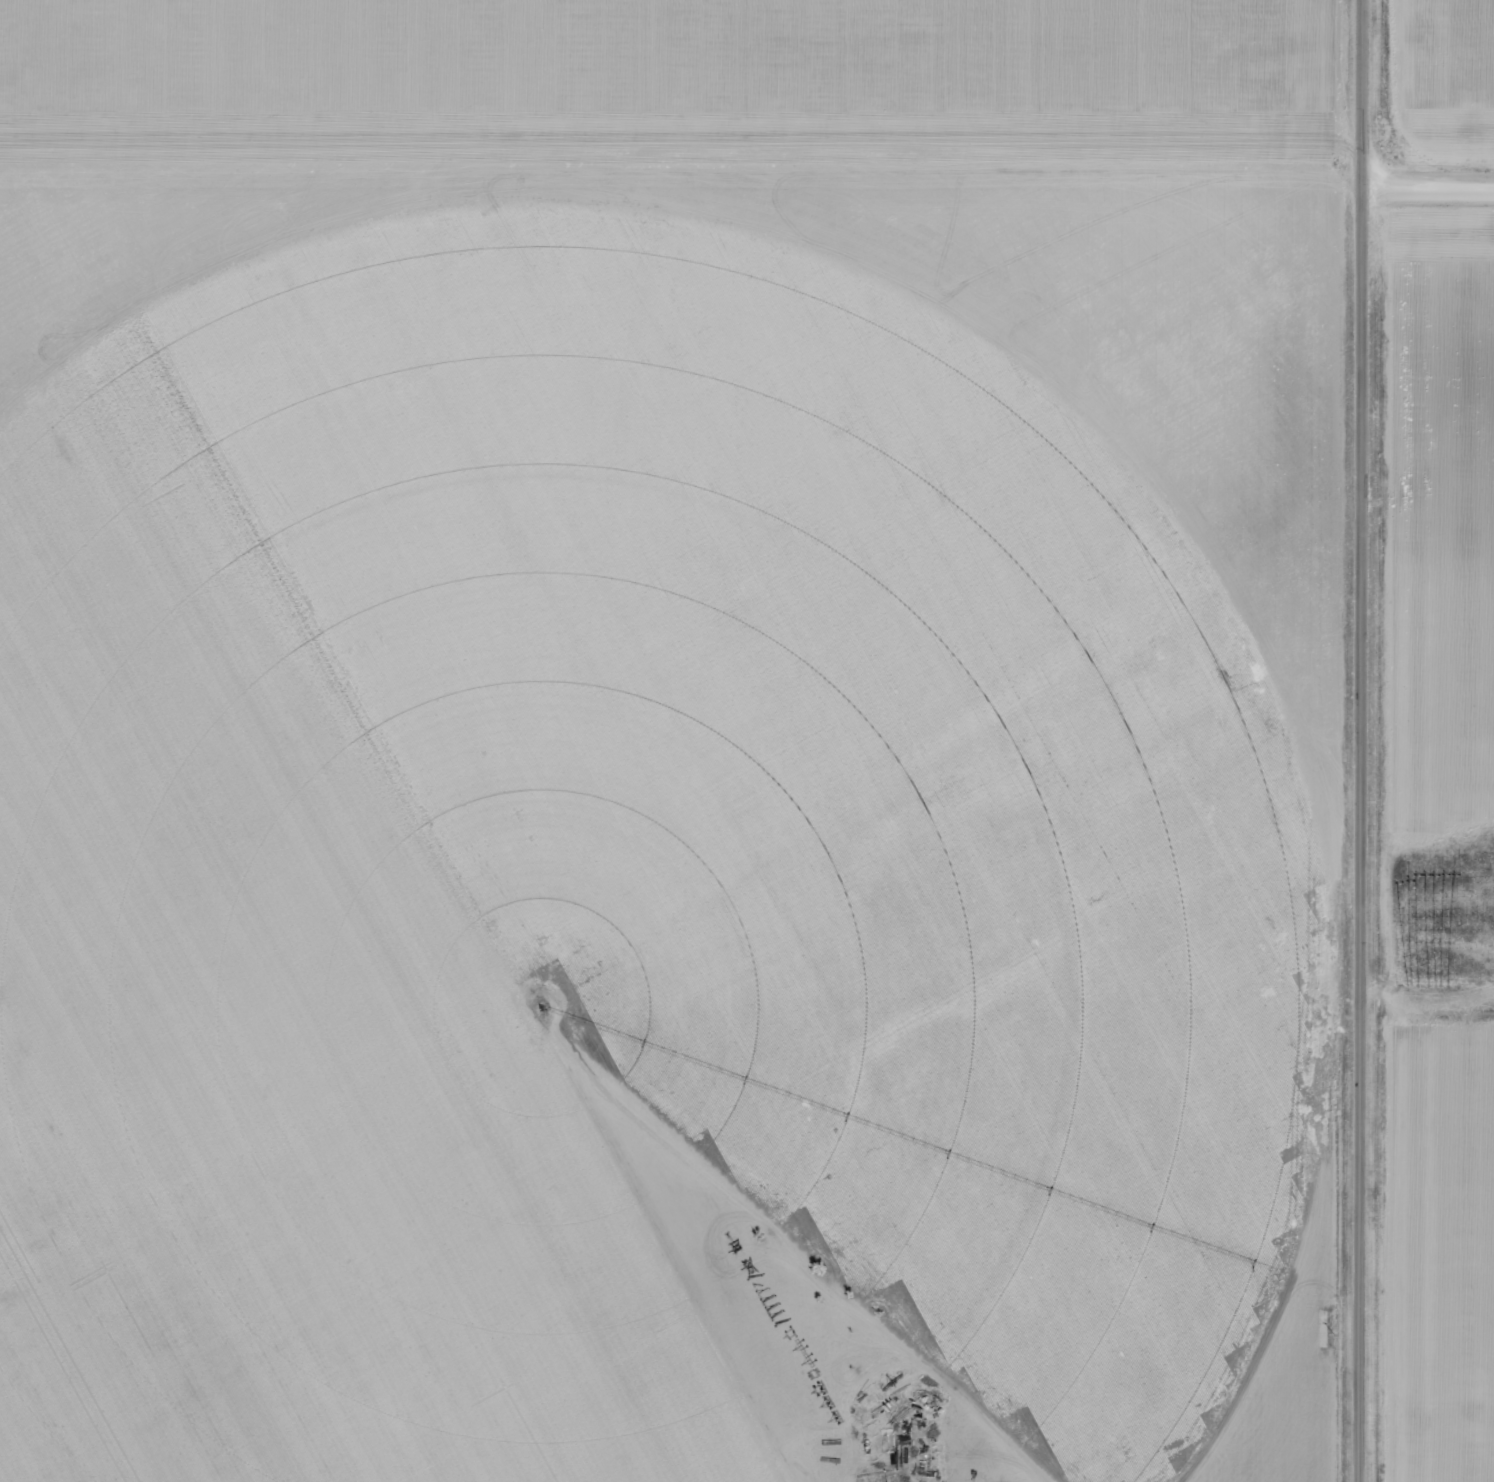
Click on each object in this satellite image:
road: (1427, 173)
road: (1347, 740)

